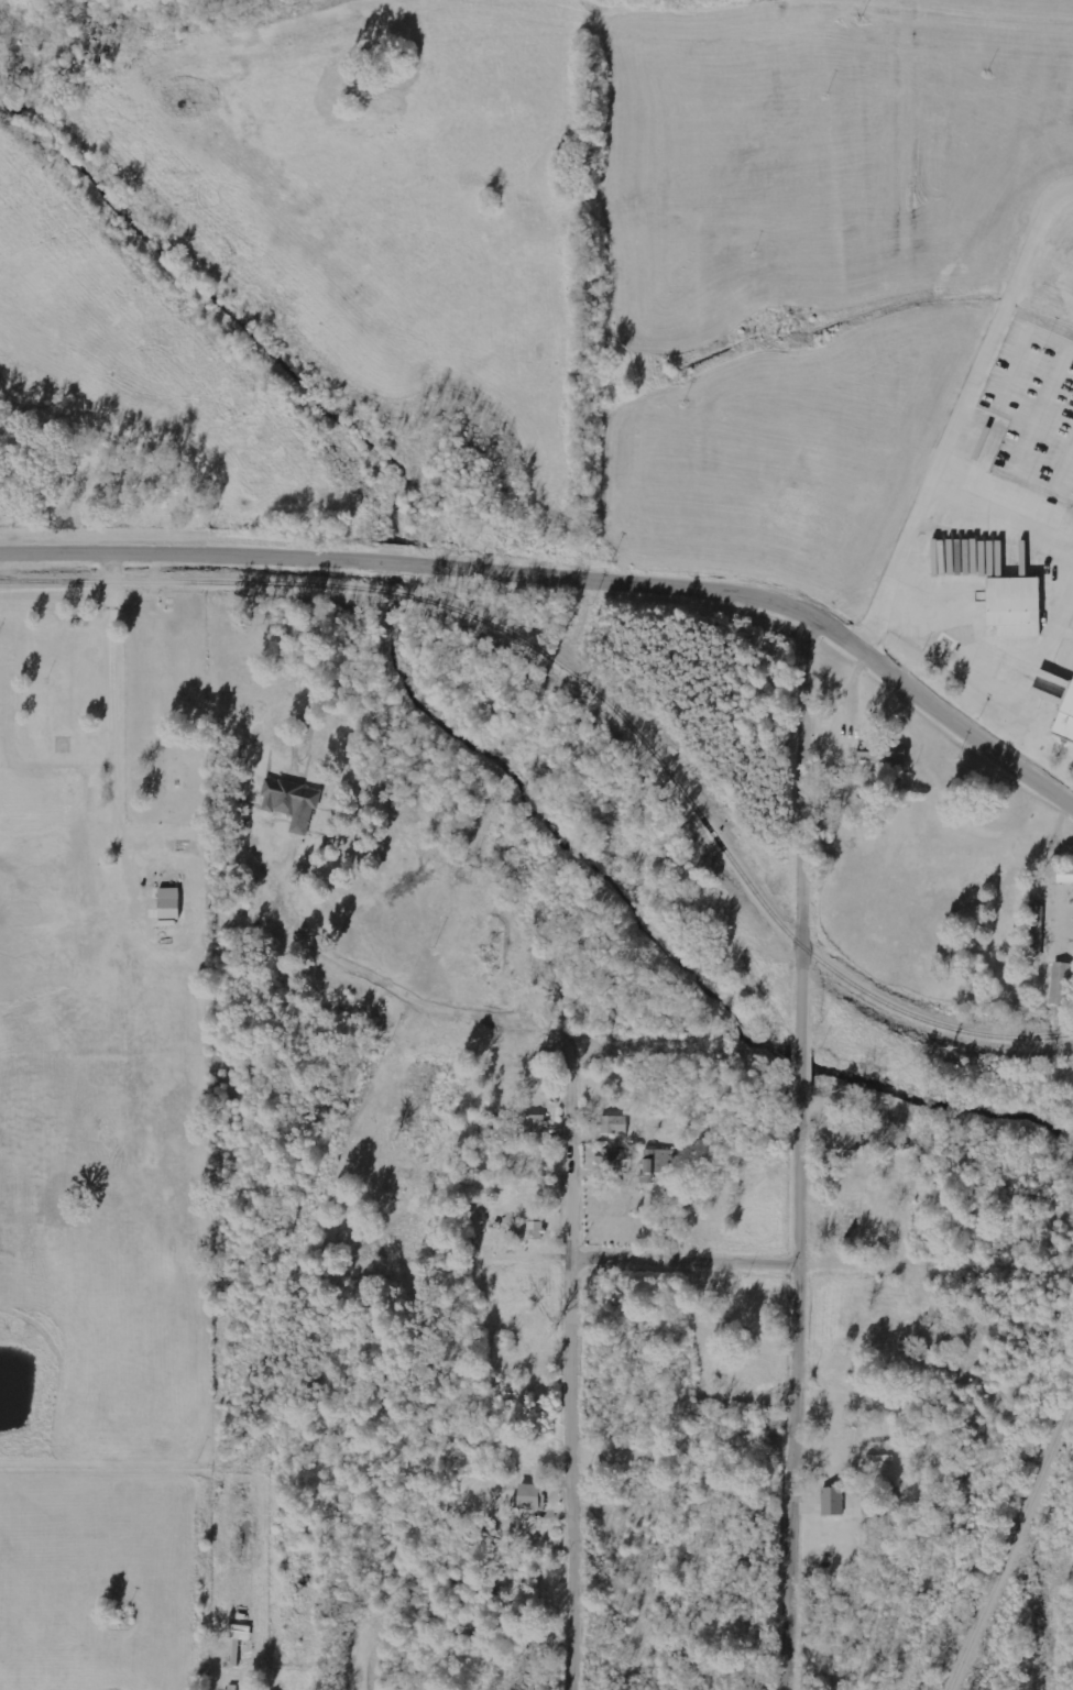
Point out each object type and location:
road: (956, 414)
road: (1005, 498)
road: (570, 571)
railway: (17, 579)
building: (1010, 586)
road: (1003, 659)
railway: (595, 695)
building: (1064, 724)
building: (875, 758)
building: (291, 803)
building: (1065, 875)
building: (168, 903)
building: (1033, 933)
building: (1061, 983)
building: (534, 1123)
building: (614, 1124)
building: (850, 1134)
road: (801, 1153)
building: (610, 1159)
building: (661, 1161)
building: (535, 1230)
road: (686, 1255)
road: (573, 1376)
building: (526, 1496)
building: (833, 1501)
railway: (1009, 1543)

